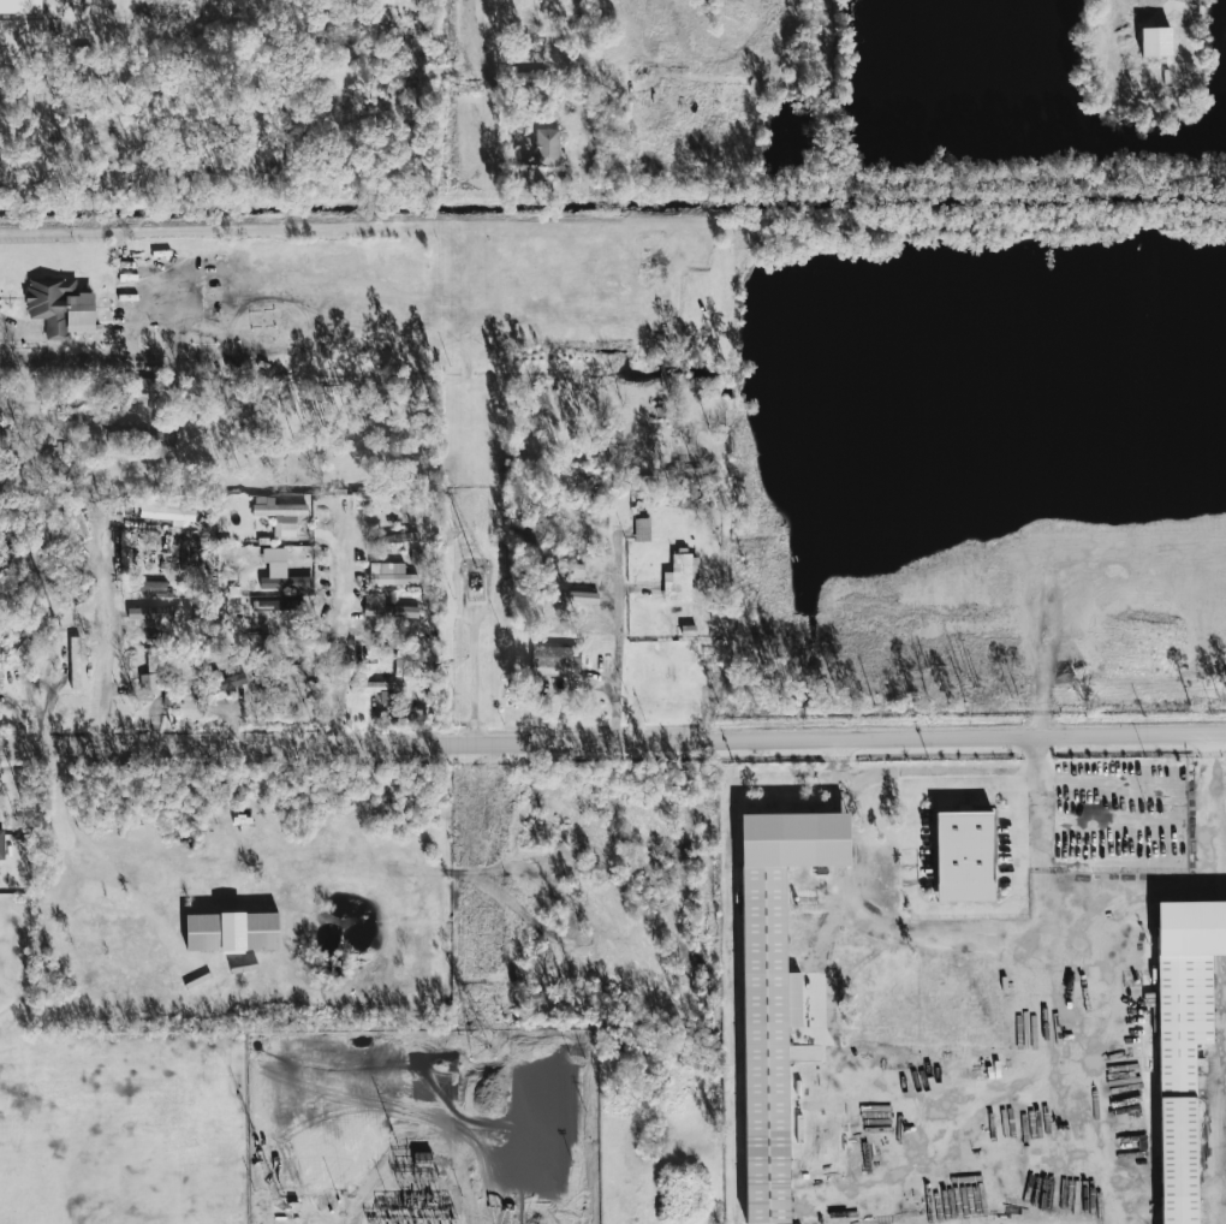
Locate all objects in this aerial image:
building: (20, 6)
building: (1155, 41)
road: (484, 72)
building: (524, 78)
power tower: (470, 88)
building: (547, 147)
building: (60, 307)
road: (8, 326)
building: (147, 385)
road: (41, 416)
building: (127, 433)
building: (163, 435)
building: (167, 510)
building: (279, 515)
building: (76, 518)
power tower: (475, 568)
building: (567, 569)
building: (389, 574)
building: (680, 577)
building: (286, 580)
building: (150, 586)
building: (570, 596)
building: (275, 605)
building: (151, 614)
road: (619, 616)
road: (338, 619)
road: (471, 619)
road: (108, 632)
building: (555, 656)
building: (75, 662)
building: (287, 671)
building: (151, 673)
building: (219, 683)
building: (380, 688)
road: (612, 742)
road: (1107, 782)
road: (1209, 797)
road: (1102, 821)
building: (1, 844)
building: (964, 856)
road: (1103, 861)
road: (912, 875)
building: (232, 931)
building: (773, 990)
building: (1183, 1040)
power tower: (482, 1046)
power substation: (422, 1125)

